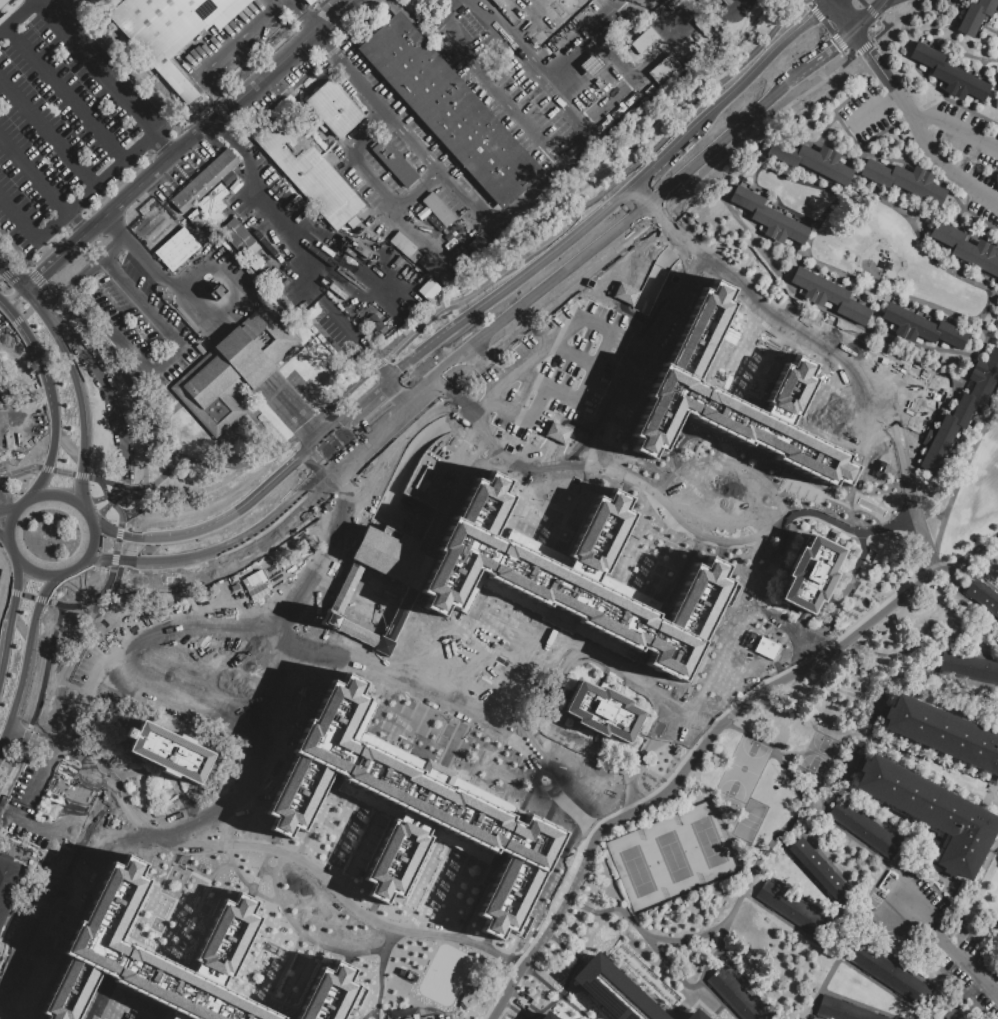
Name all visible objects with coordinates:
road: (832, 1)
road: (834, 1)
building: (309, 2)
building: (727, 2)
road: (863, 2)
building: (4, 3)
road: (808, 3)
road: (879, 3)
road: (887, 3)
parking lot: (952, 3)
road: (501, 7)
road: (719, 9)
road: (736, 9)
road: (871, 10)
road: (816, 13)
road: (16, 15)
road: (842, 15)
building: (975, 16)
road: (302, 17)
road: (864, 17)
road: (881, 21)
road: (542, 22)
road: (827, 27)
building: (173, 32)
road: (878, 33)
road: (240, 38)
road: (858, 38)
building: (641, 39)
road: (514, 40)
road: (837, 40)
building: (702, 43)
road: (863, 47)
road: (959, 51)
road: (849, 55)
road: (768, 57)
road: (817, 57)
road: (570, 59)
building: (592, 63)
building: (236, 67)
road: (351, 69)
building: (665, 69)
building: (949, 73)
road: (104, 79)
building: (598, 83)
road: (892, 83)
road: (933, 85)
road: (492, 87)
building: (649, 91)
building: (592, 92)
road: (64, 93)
road: (214, 94)
street lamp: (939, 96)
building: (587, 97)
road: (876, 107)
building: (451, 111)
building: (617, 111)
building: (335, 112)
parking lot: (862, 114)
road: (754, 129)
road: (927, 133)
road: (47, 134)
road: (411, 137)
road: (188, 143)
road: (714, 145)
road: (667, 151)
parking lot: (961, 155)
building: (811, 160)
building: (396, 166)
building: (345, 168)
building: (308, 170)
road: (371, 174)
building: (904, 180)
building: (203, 181)
building: (229, 183)
road: (537, 185)
road: (43, 186)
road: (94, 188)
road: (760, 189)
road: (606, 191)
road: (614, 199)
road: (623, 207)
building: (215, 209)
road: (827, 211)
building: (439, 214)
road: (656, 215)
road: (631, 216)
road: (658, 217)
building: (195, 218)
building: (770, 218)
road: (18, 220)
road: (640, 224)
road: (117, 226)
road: (654, 235)
building: (240, 241)
road: (560, 242)
building: (476, 244)
road: (14, 248)
building: (967, 248)
road: (673, 249)
building: (406, 250)
building: (178, 252)
road: (585, 254)
road: (686, 259)
road: (99, 263)
road: (303, 263)
building: (256, 265)
road: (655, 272)
road: (33, 277)
road: (172, 285)
road: (569, 287)
building: (427, 288)
building: (218, 295)
building: (829, 295)
road: (145, 303)
road: (32, 306)
road: (988, 306)
road: (25, 312)
street lamp: (988, 313)
road: (15, 321)
road: (796, 321)
building: (376, 325)
road: (588, 327)
road: (415, 328)
building: (922, 328)
road: (438, 336)
road: (57, 338)
road: (122, 347)
road: (464, 348)
road: (808, 348)
road: (724, 351)
road: (476, 358)
road: (528, 360)
road: (563, 360)
road: (625, 361)
road: (40, 363)
road: (482, 364)
parking lot: (554, 369)
building: (236, 370)
building: (582, 382)
road: (574, 401)
building: (737, 401)
road: (697, 402)
road: (353, 406)
road: (871, 407)
building: (963, 409)
road: (521, 418)
road: (300, 420)
road: (396, 425)
road: (370, 427)
road: (142, 440)
road: (677, 440)
road: (292, 446)
road: (300, 455)
road: (725, 458)
road: (640, 462)
road: (81, 465)
road: (46, 466)
road: (310, 466)
road: (46, 469)
road: (19, 470)
road: (62, 472)
road: (163, 473)
road: (397, 473)
road: (80, 475)
road: (318, 475)
road: (271, 479)
road: (956, 482)
road: (120, 485)
road: (456, 485)
road: (116, 491)
road: (118, 494)
road: (60, 495)
road: (910, 496)
road: (108, 498)
road: (340, 498)
road: (514, 500)
road: (93, 501)
road: (20, 504)
road: (208, 504)
road: (666, 506)
road: (8, 509)
road: (100, 511)
road: (87, 515)
road: (158, 531)
road: (118, 532)
road: (251, 532)
road: (3, 534)
road: (997, 539)
road: (92, 542)
road: (348, 543)
road: (7, 544)
road: (115, 545)
road: (490, 551)
road: (112, 558)
road: (115, 558)
road: (228, 567)
road: (860, 569)
road: (73, 571)
road: (36, 575)
building: (809, 575)
road: (978, 576)
building: (575, 577)
building: (276, 579)
road: (476, 580)
road: (82, 583)
road: (4, 588)
road: (72, 588)
road: (14, 592)
road: (16, 592)
road: (27, 595)
road: (966, 597)
building: (984, 597)
road: (39, 598)
road: (39, 599)
road: (89, 600)
road: (494, 606)
road: (214, 631)
road: (5, 644)
road: (920, 644)
building: (764, 647)
road: (283, 650)
road: (25, 656)
road: (45, 667)
building: (967, 667)
road: (211, 668)
road: (616, 668)
road: (935, 676)
road: (415, 683)
road: (839, 687)
road: (372, 704)
road: (13, 707)
road: (879, 713)
building: (602, 714)
road: (43, 718)
road: (60, 725)
building: (944, 732)
road: (4, 735)
road: (24, 735)
road: (30, 737)
road: (267, 741)
building: (171, 743)
road: (706, 744)
road: (597, 747)
road: (103, 750)
road: (347, 753)
road: (788, 753)
park: (818, 753)
road: (775, 755)
road: (11, 762)
road: (918, 763)
road: (854, 765)
road: (944, 765)
park: (743, 767)
road: (163, 777)
road: (81, 783)
road: (205, 785)
road: (988, 790)
building: (418, 807)
road: (656, 810)
building: (933, 811)
road: (318, 813)
park: (748, 820)
road: (880, 823)
building: (865, 828)
road: (35, 829)
road: (778, 832)
road: (143, 845)
road: (864, 845)
park: (671, 856)
road: (825, 859)
road: (305, 860)
road: (262, 861)
building: (817, 868)
road: (236, 873)
road: (809, 876)
building: (8, 882)
road: (972, 890)
road: (151, 894)
road: (800, 895)
road: (940, 895)
road: (262, 896)
road: (55, 899)
parking lot: (903, 905)
building: (793, 909)
road: (57, 930)
road: (979, 936)
road: (307, 937)
road: (945, 943)
road: (872, 944)
road: (846, 949)
road: (981, 950)
road: (833, 953)
building: (159, 954)
road: (660, 954)
road: (116, 958)
parking lot: (981, 960)
road: (580, 963)
road: (932, 964)
street lamp: (825, 970)
parking lot: (954, 971)
park: (444, 973)
road: (662, 973)
building: (890, 975)
road: (567, 978)
road: (373, 985)
road: (750, 987)
road: (557, 992)
building: (615, 992)
building: (329, 994)
road: (668, 994)
road: (96, 996)
building: (736, 996)
road: (965, 998)
road: (716, 999)
parking lot: (986, 1003)
road: (862, 1004)
road: (127, 1010)
road: (513, 1010)
road: (717, 1010)
building: (845, 1010)
building: (403, 1013)
road: (138, 1015)
building: (696, 1017)
road: (812, 1017)
building: (548, 1018)

